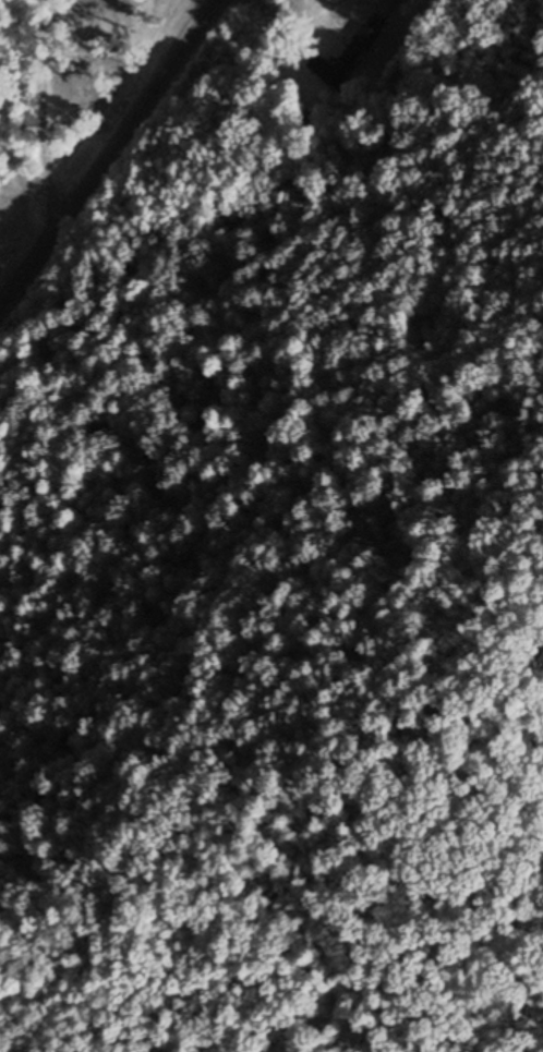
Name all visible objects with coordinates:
building: (342, 58)
road: (39, 113)
road: (110, 152)

